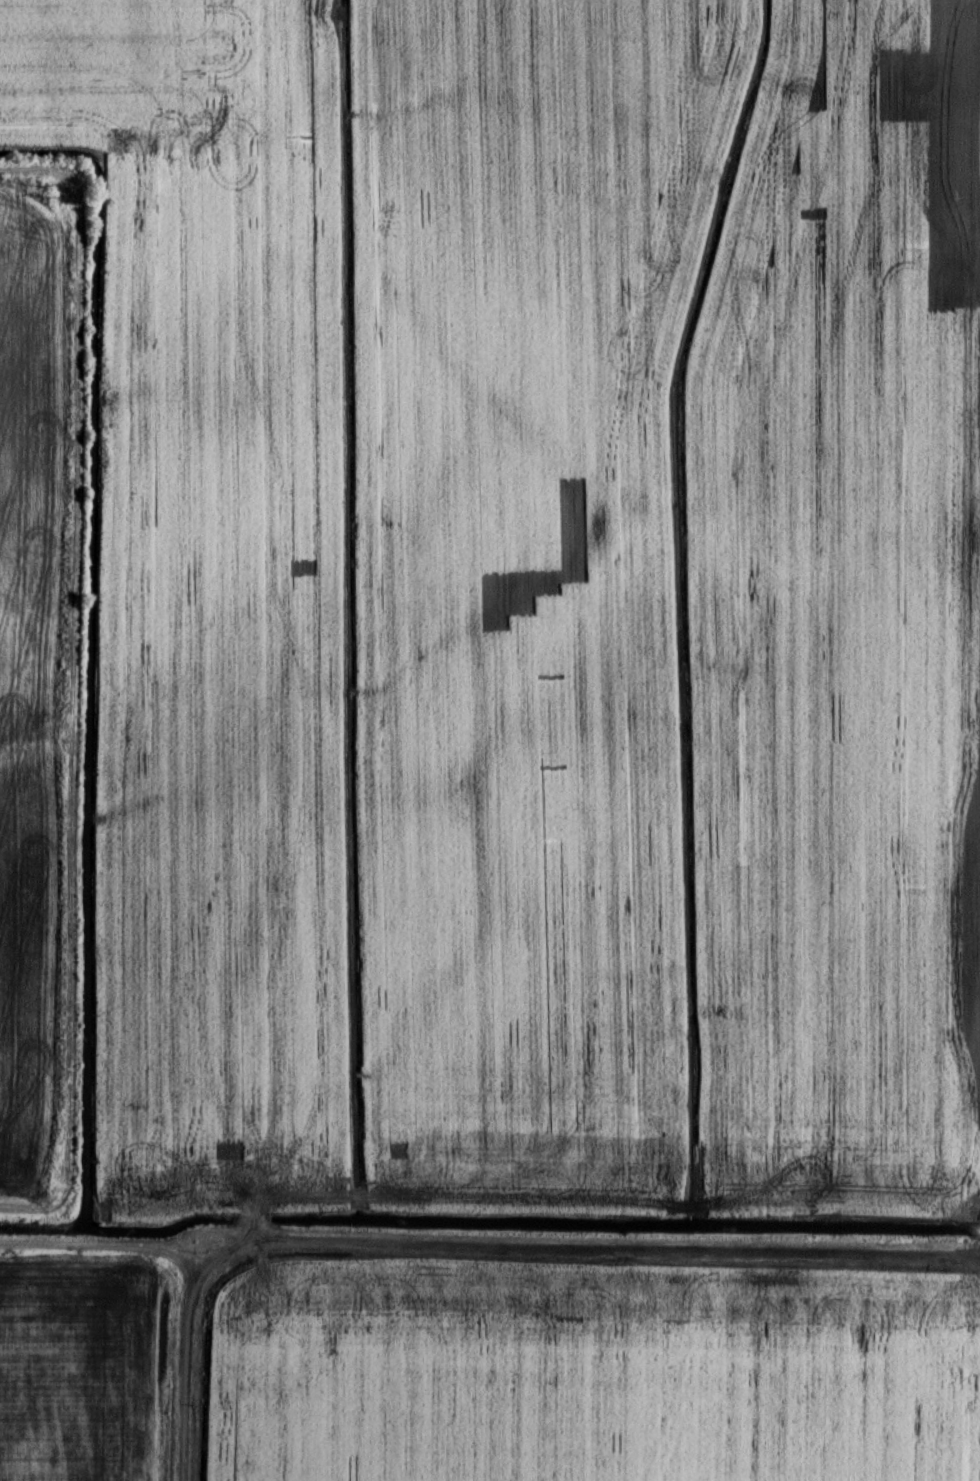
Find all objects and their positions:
road: (185, 1278)

